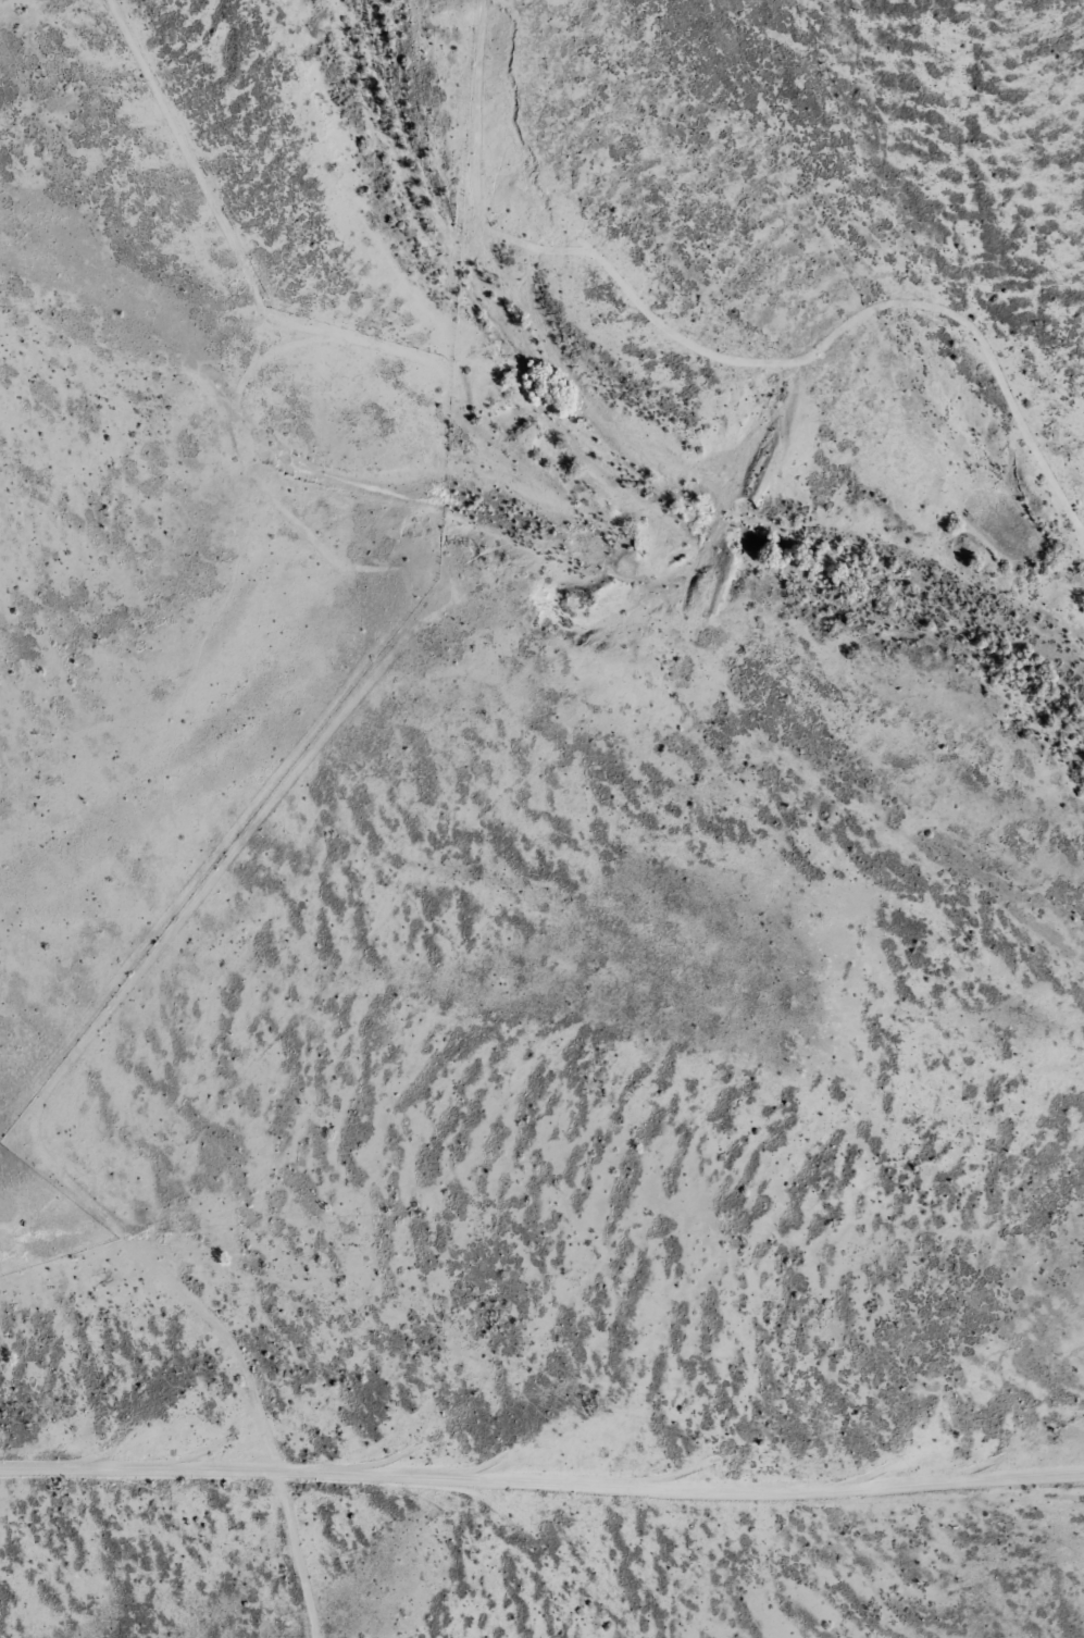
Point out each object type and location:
road: (544, 1491)
road: (1044, 1552)

